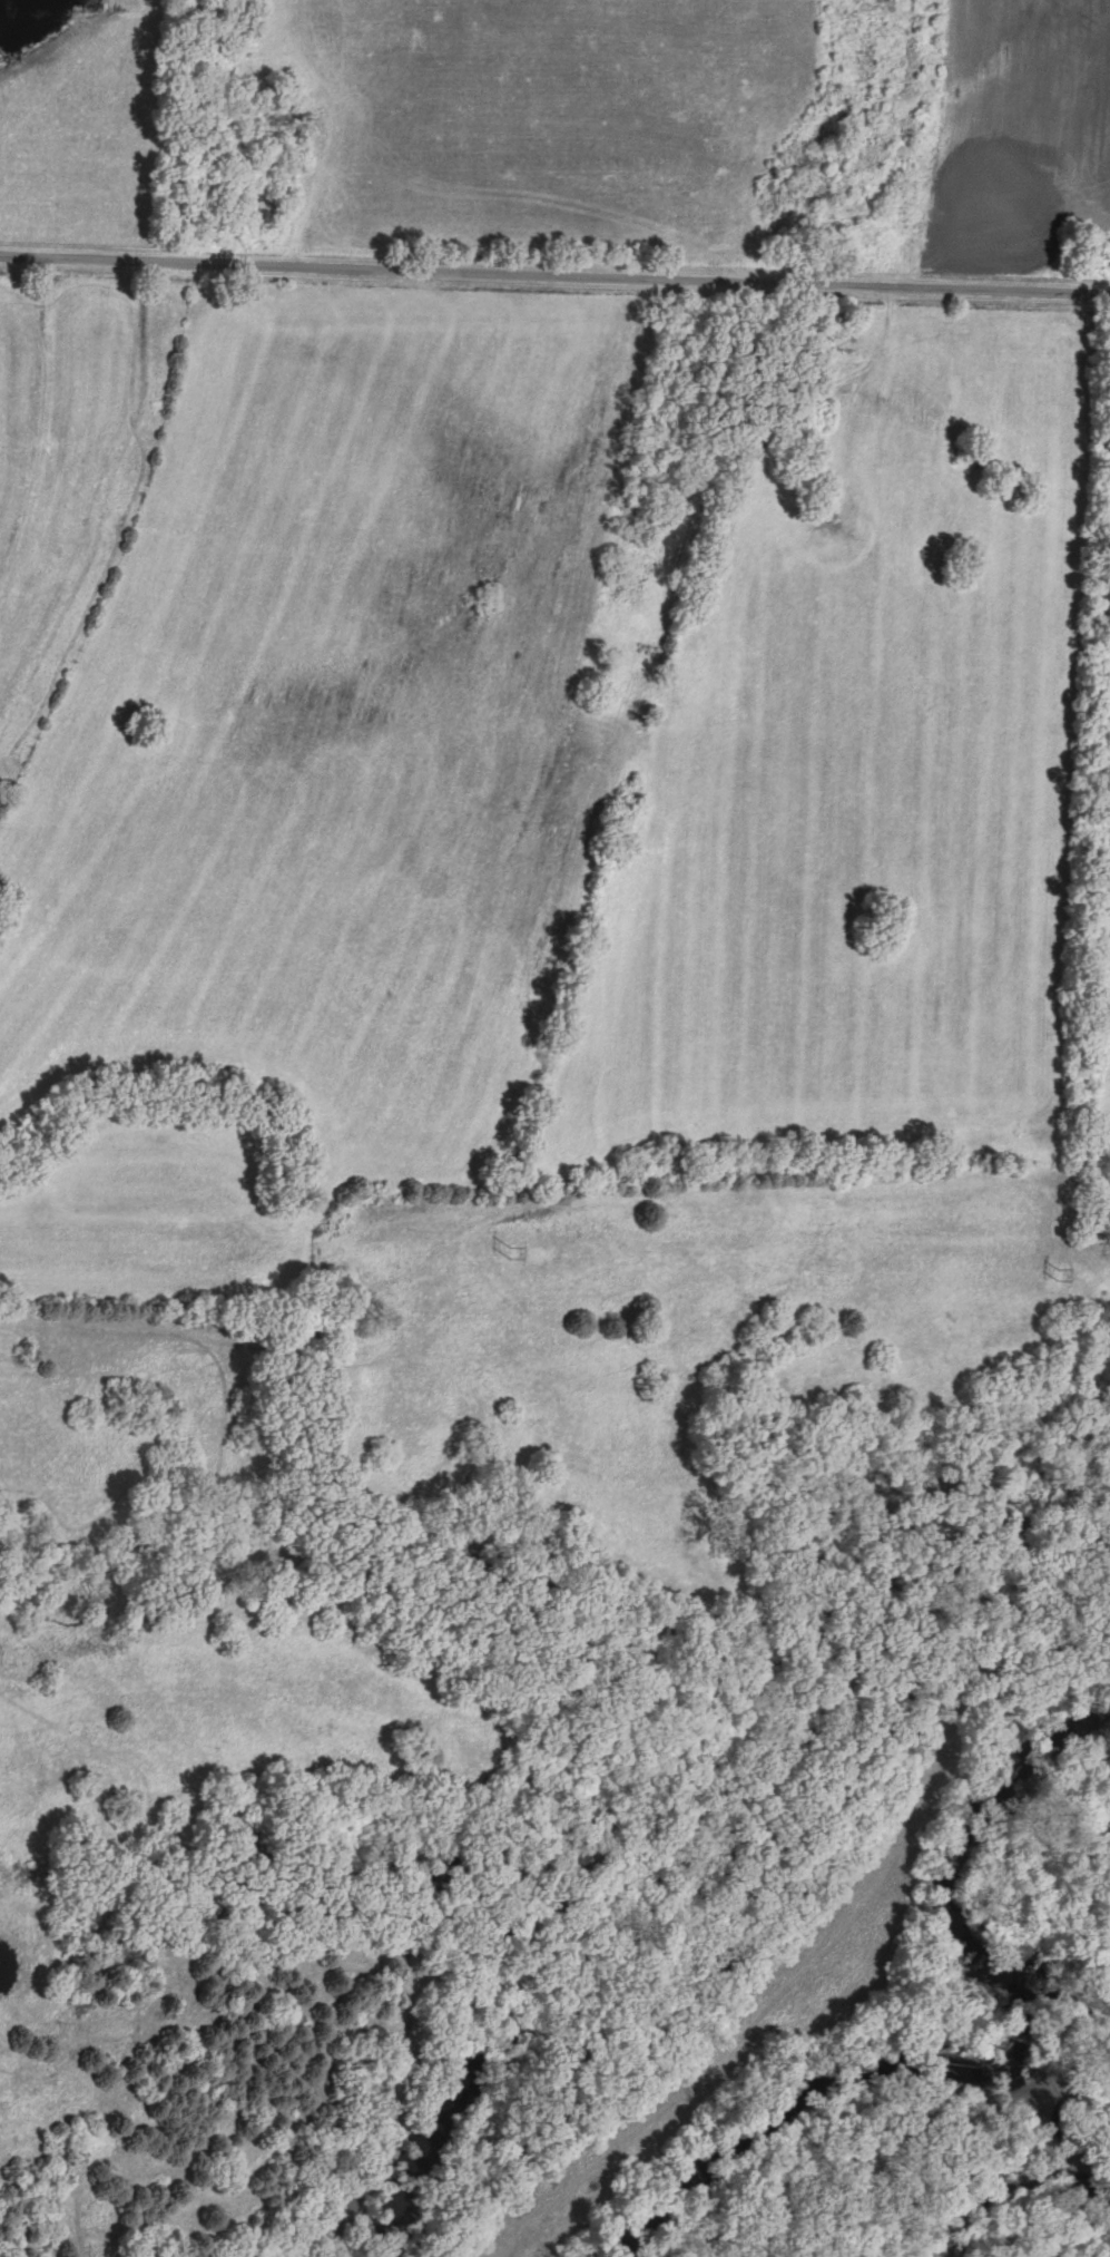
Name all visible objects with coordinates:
road: (554, 277)
power tower: (517, 1249)
power tower: (1061, 1270)

